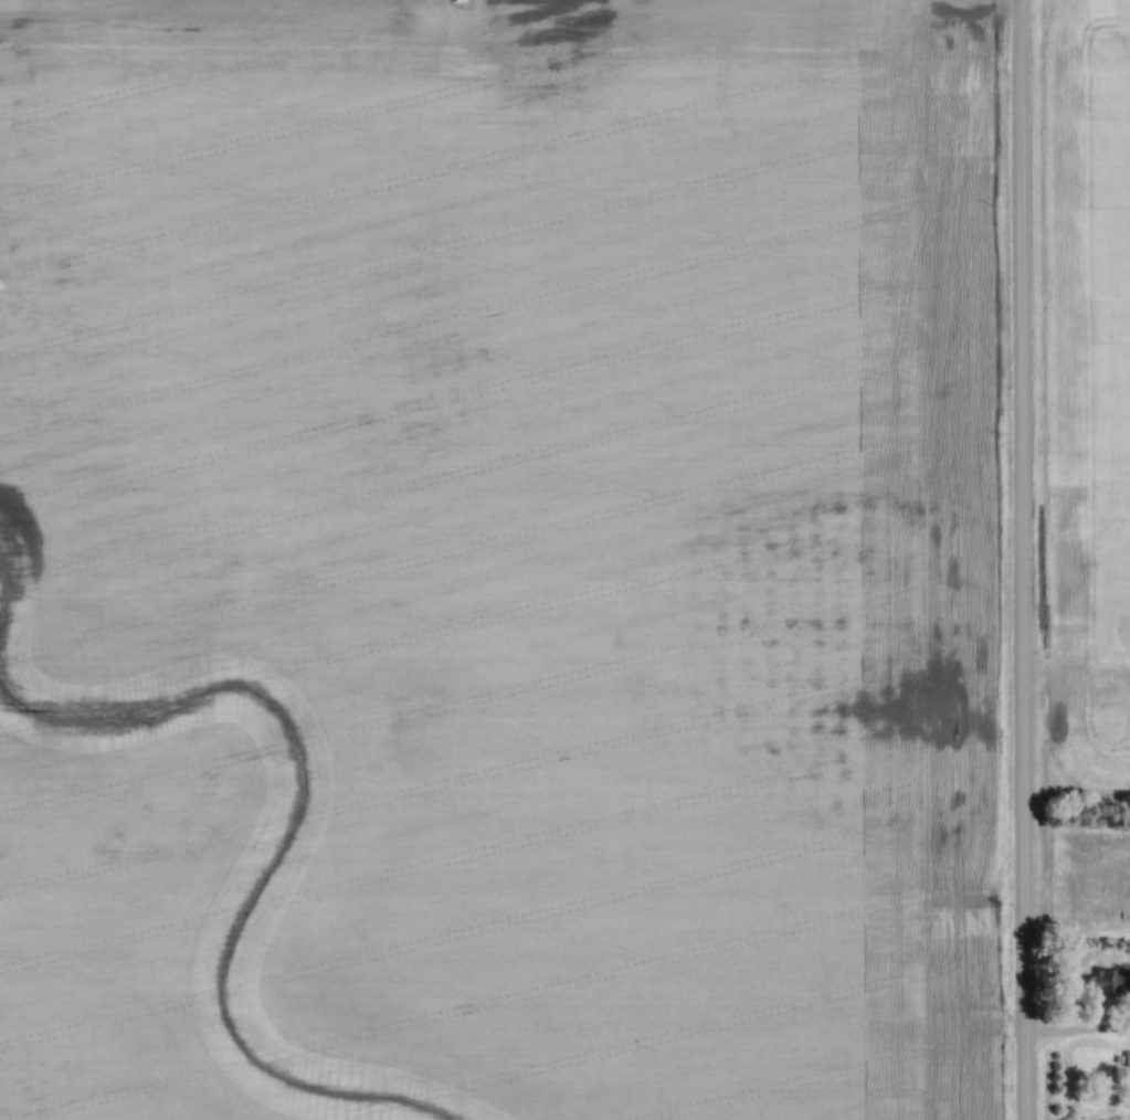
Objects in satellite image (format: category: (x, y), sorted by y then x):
road: (1024, 560)
building: (984, 960)
building: (1110, 982)
building: (985, 985)
building: (1128, 1059)

